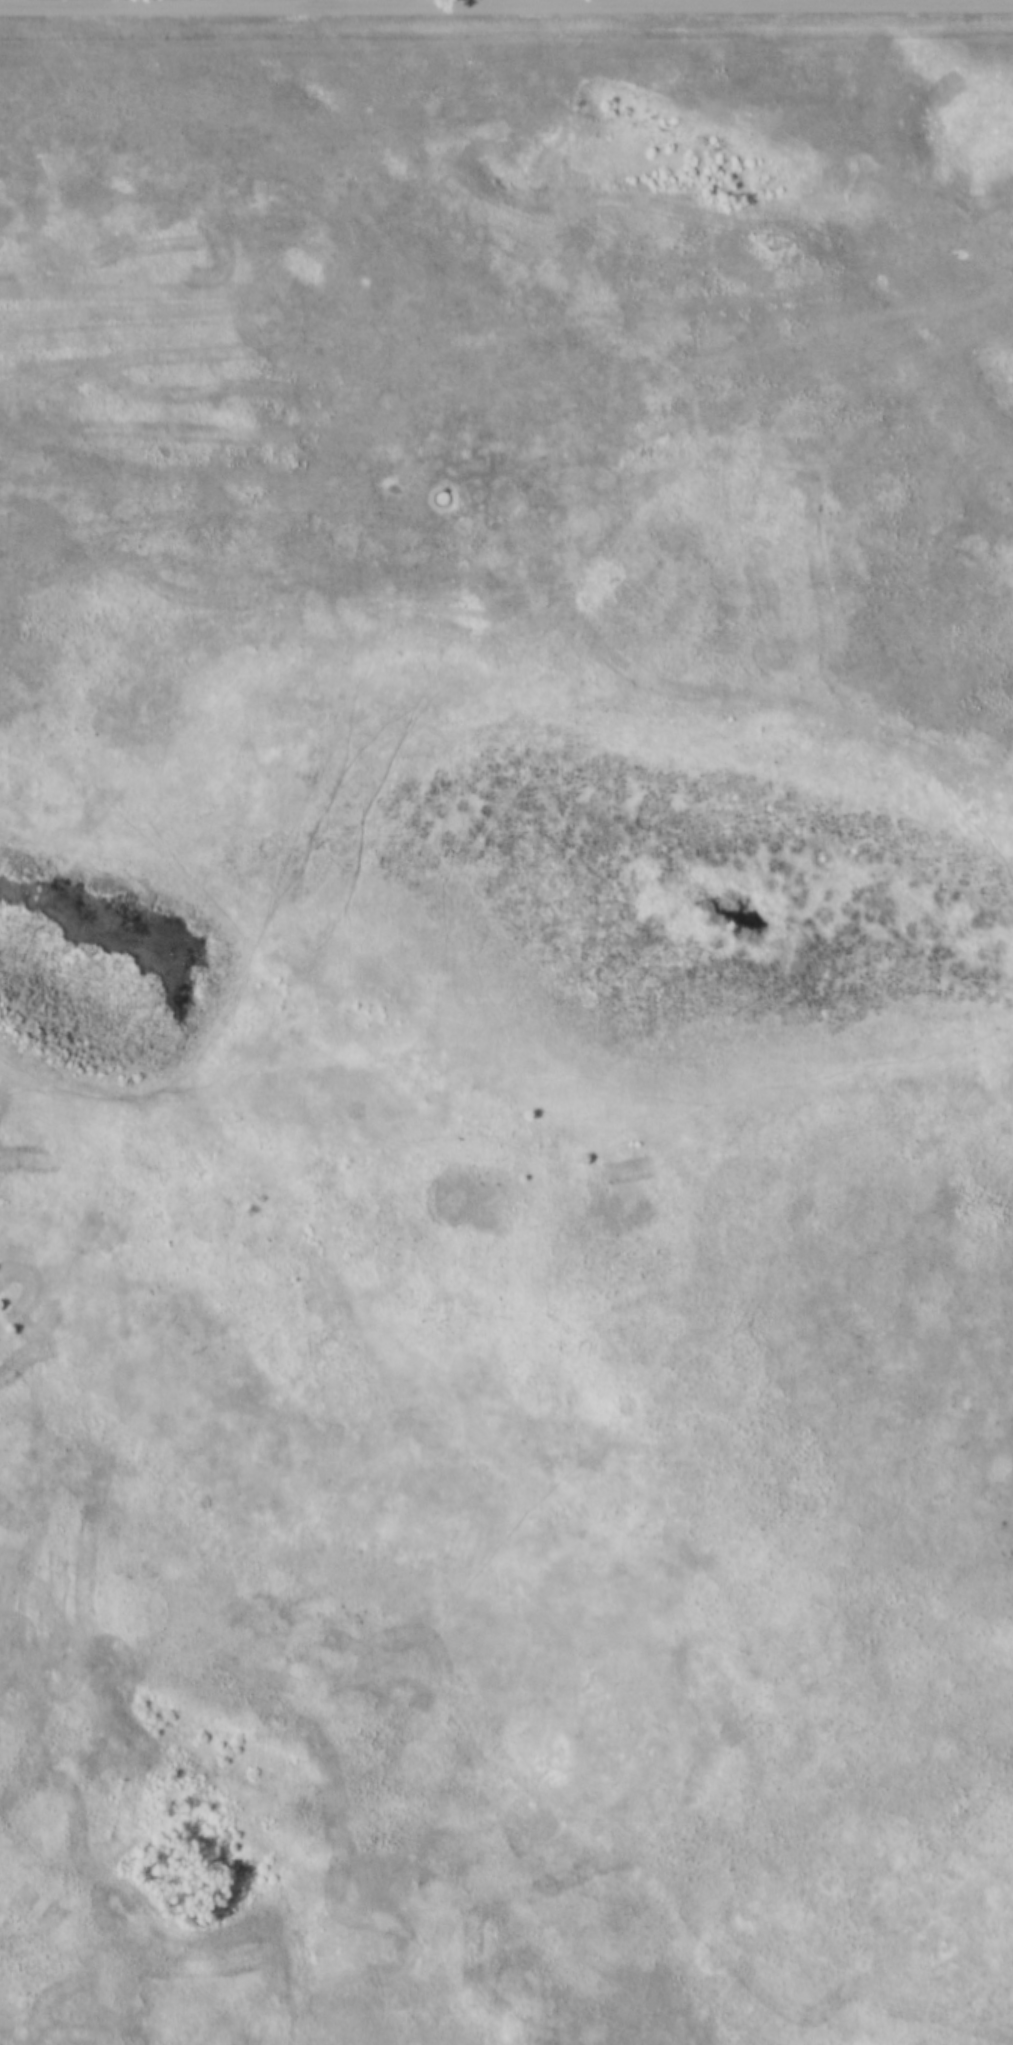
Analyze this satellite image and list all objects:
road: (230, 1)

